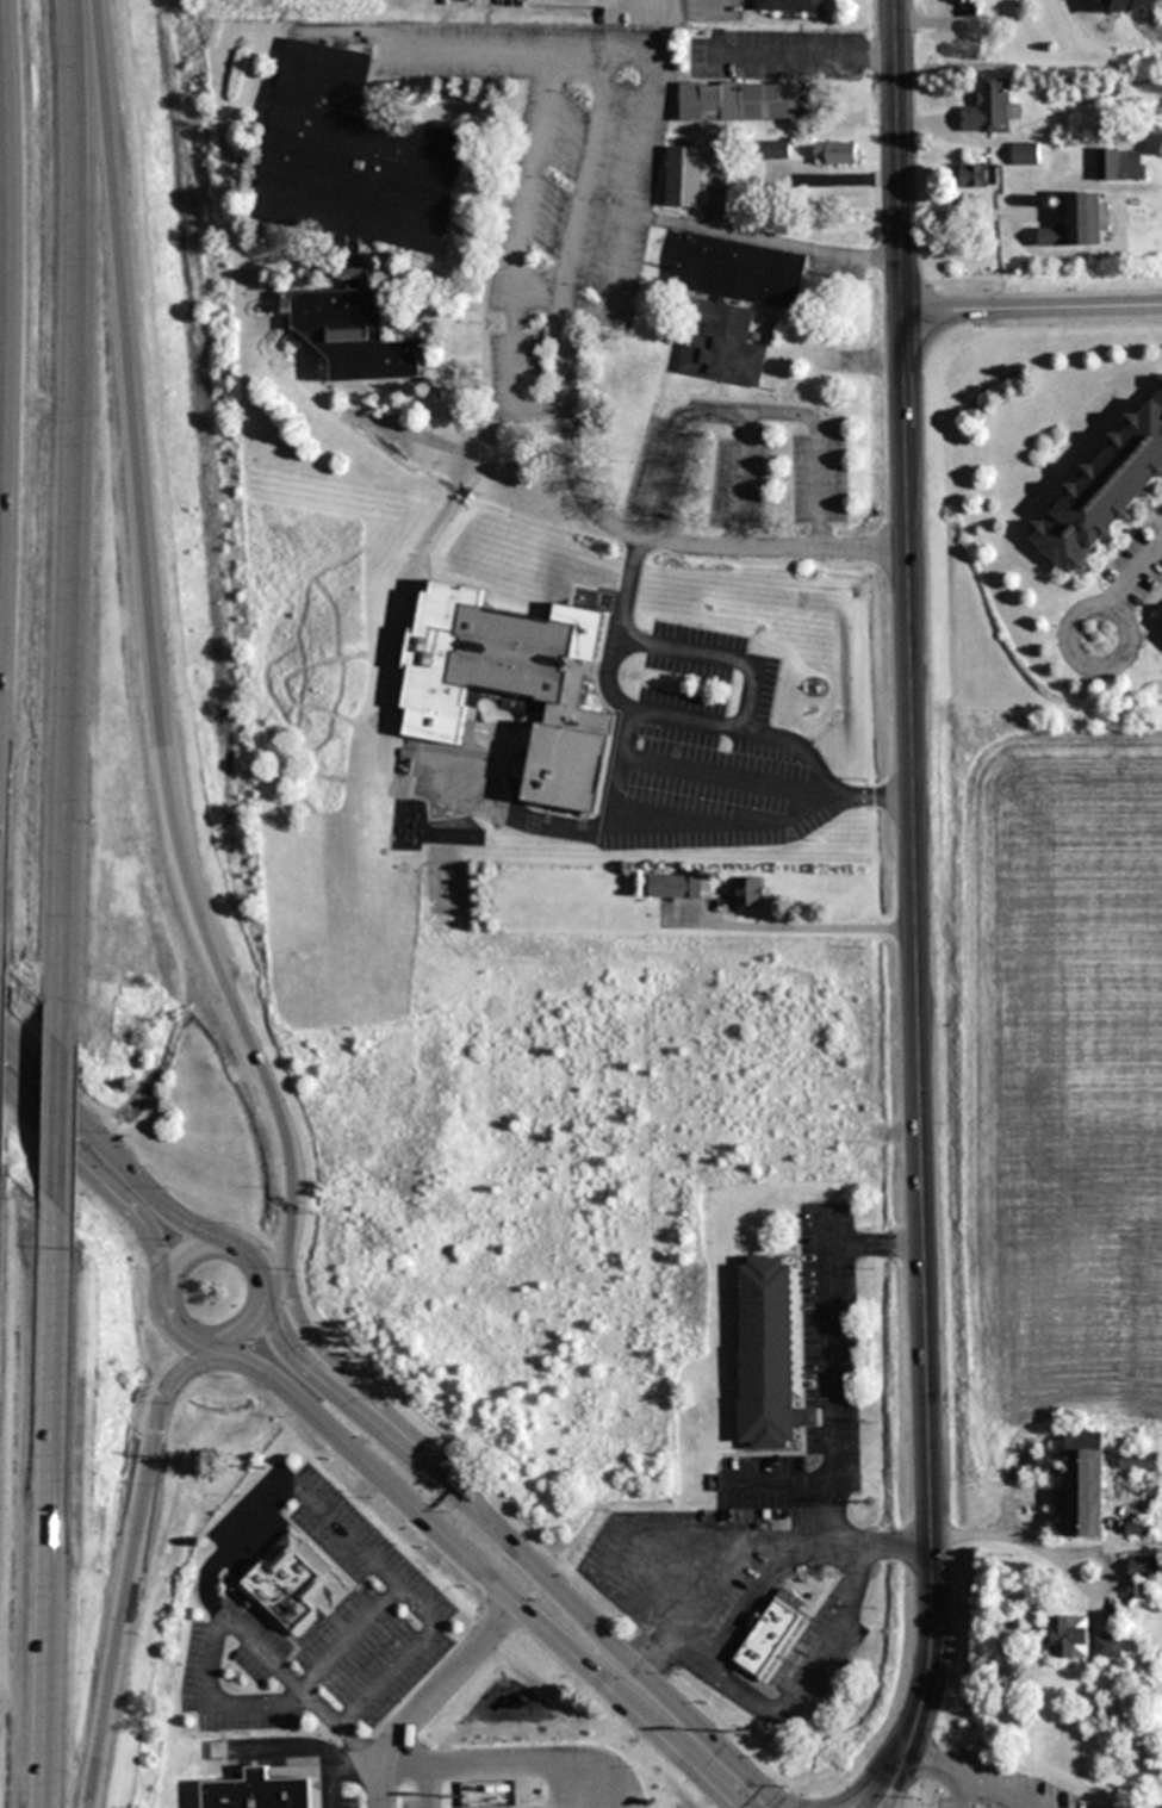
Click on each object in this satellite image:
road: (713, 5)
building: (789, 6)
building: (1119, 6)
building: (971, 10)
road: (620, 49)
road: (498, 51)
road: (806, 52)
building: (741, 101)
building: (990, 108)
building: (776, 149)
building: (838, 153)
road: (535, 154)
building: (1026, 154)
building: (353, 159)
building: (1120, 164)
building: (977, 175)
building: (685, 176)
road: (584, 185)
road: (633, 190)
building: (1079, 223)
building: (740, 271)
road: (524, 277)
road: (549, 297)
road: (522, 304)
road: (585, 307)
road: (1033, 307)
road: (512, 333)
building: (354, 335)
building: (722, 344)
road: (565, 346)
road: (777, 406)
road: (700, 408)
road: (542, 409)
road: (12, 449)
building: (1104, 493)
road: (77, 509)
road: (638, 529)
road: (691, 545)
road: (1136, 576)
road: (1067, 642)
road: (716, 656)
road: (156, 658)
road: (608, 676)
building: (512, 685)
road: (614, 803)
road: (915, 869)
building: (678, 886)
building: (751, 891)
crop: (1048, 1073)
road: (67, 1117)
road: (101, 1151)
road: (92, 1179)
road: (178, 1253)
road: (250, 1259)
road: (265, 1299)
road: (173, 1331)
road: (247, 1332)
building: (769, 1355)
road: (358, 1391)
road: (829, 1391)
building: (1139, 1460)
building: (1085, 1484)
road: (274, 1501)
road: (61, 1511)
road: (514, 1553)
road: (131, 1567)
road: (479, 1571)
road: (720, 1571)
building: (1143, 1574)
building: (294, 1588)
building: (1068, 1636)
building: (779, 1641)
building: (1108, 1647)
road: (431, 1700)
road: (285, 1706)
road: (944, 1769)
road: (335, 1770)
road: (507, 1772)
road: (896, 1772)
road: (868, 1777)
road: (428, 1790)
building: (259, 1791)
road: (995, 1796)
road: (776, 1804)
road: (781, 1804)

